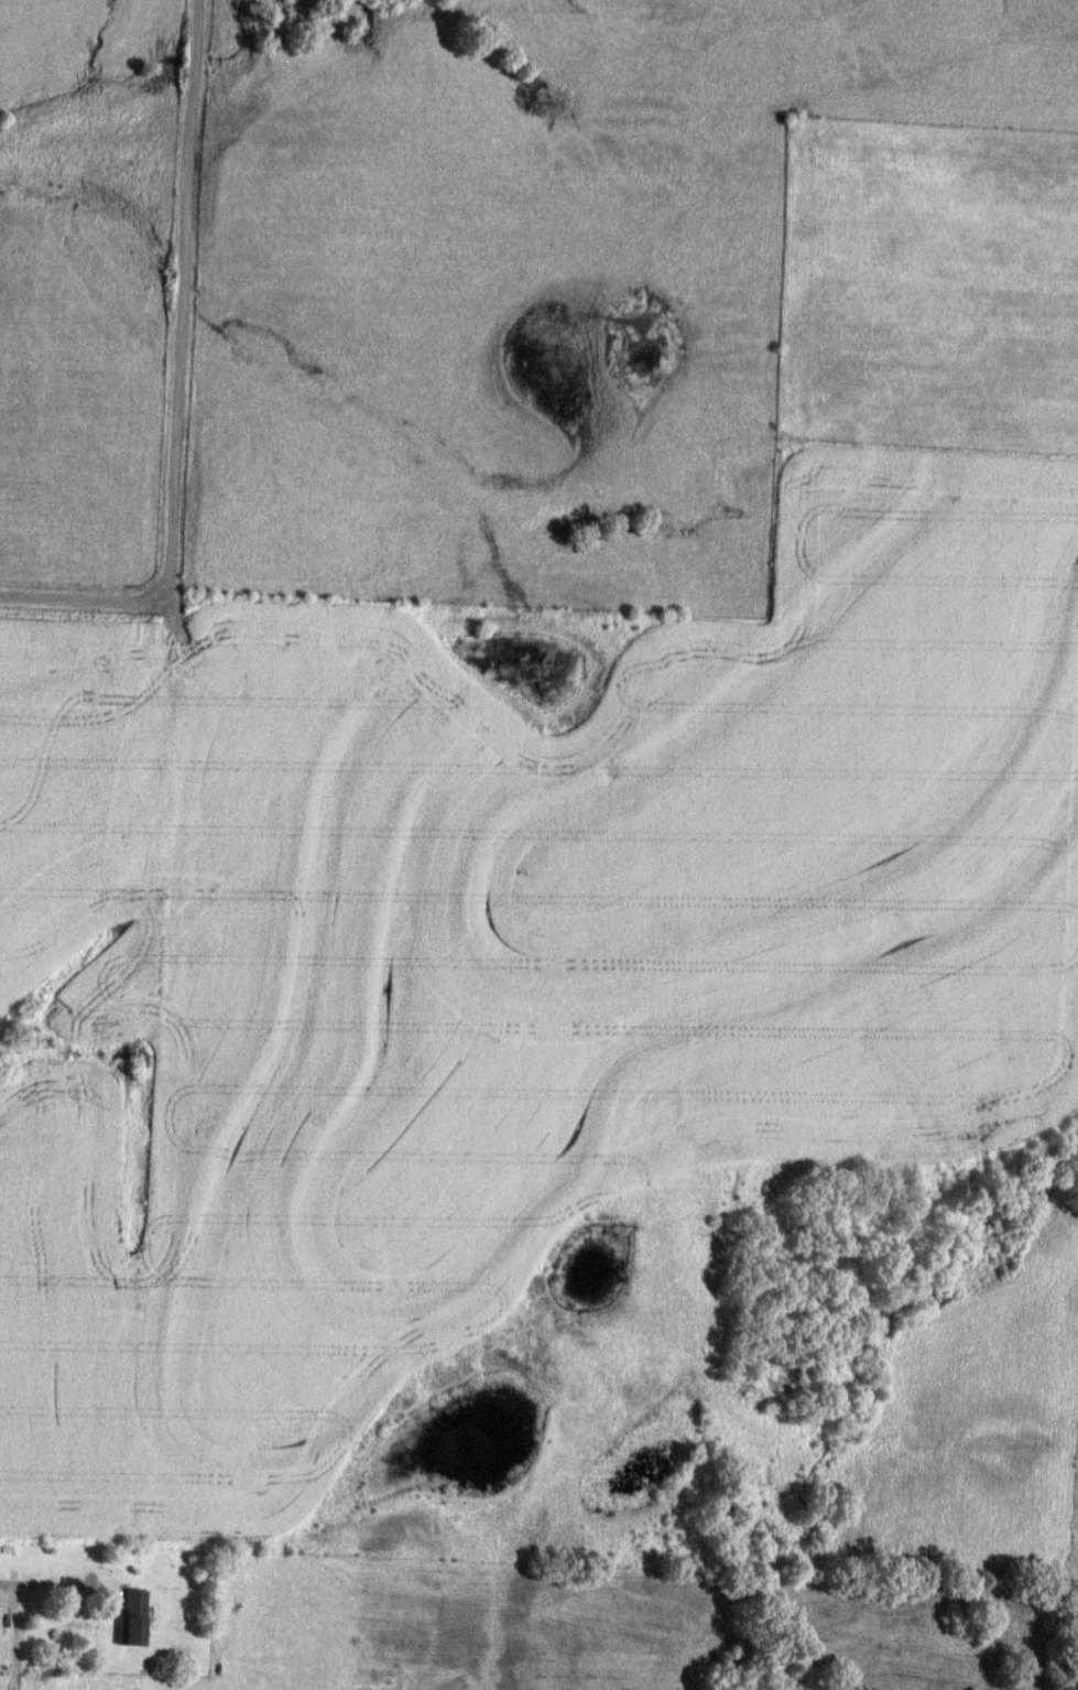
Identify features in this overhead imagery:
road: (177, 378)
road: (257, 686)
road: (45, 1586)
building: (132, 1618)

